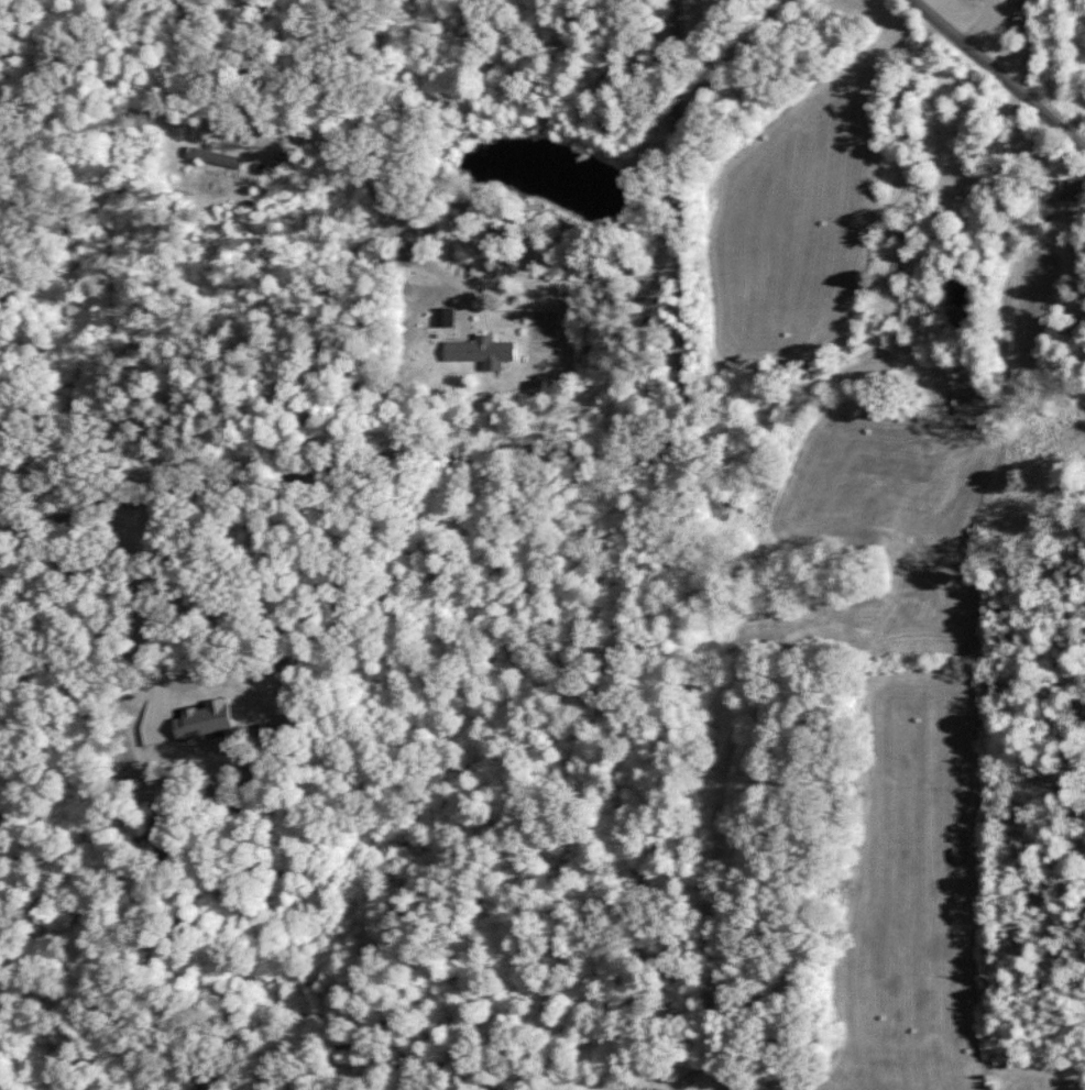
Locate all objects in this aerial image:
road: (997, 74)
building: (224, 154)
building: (1067, 195)
building: (476, 348)
building: (968, 401)
road: (557, 456)

